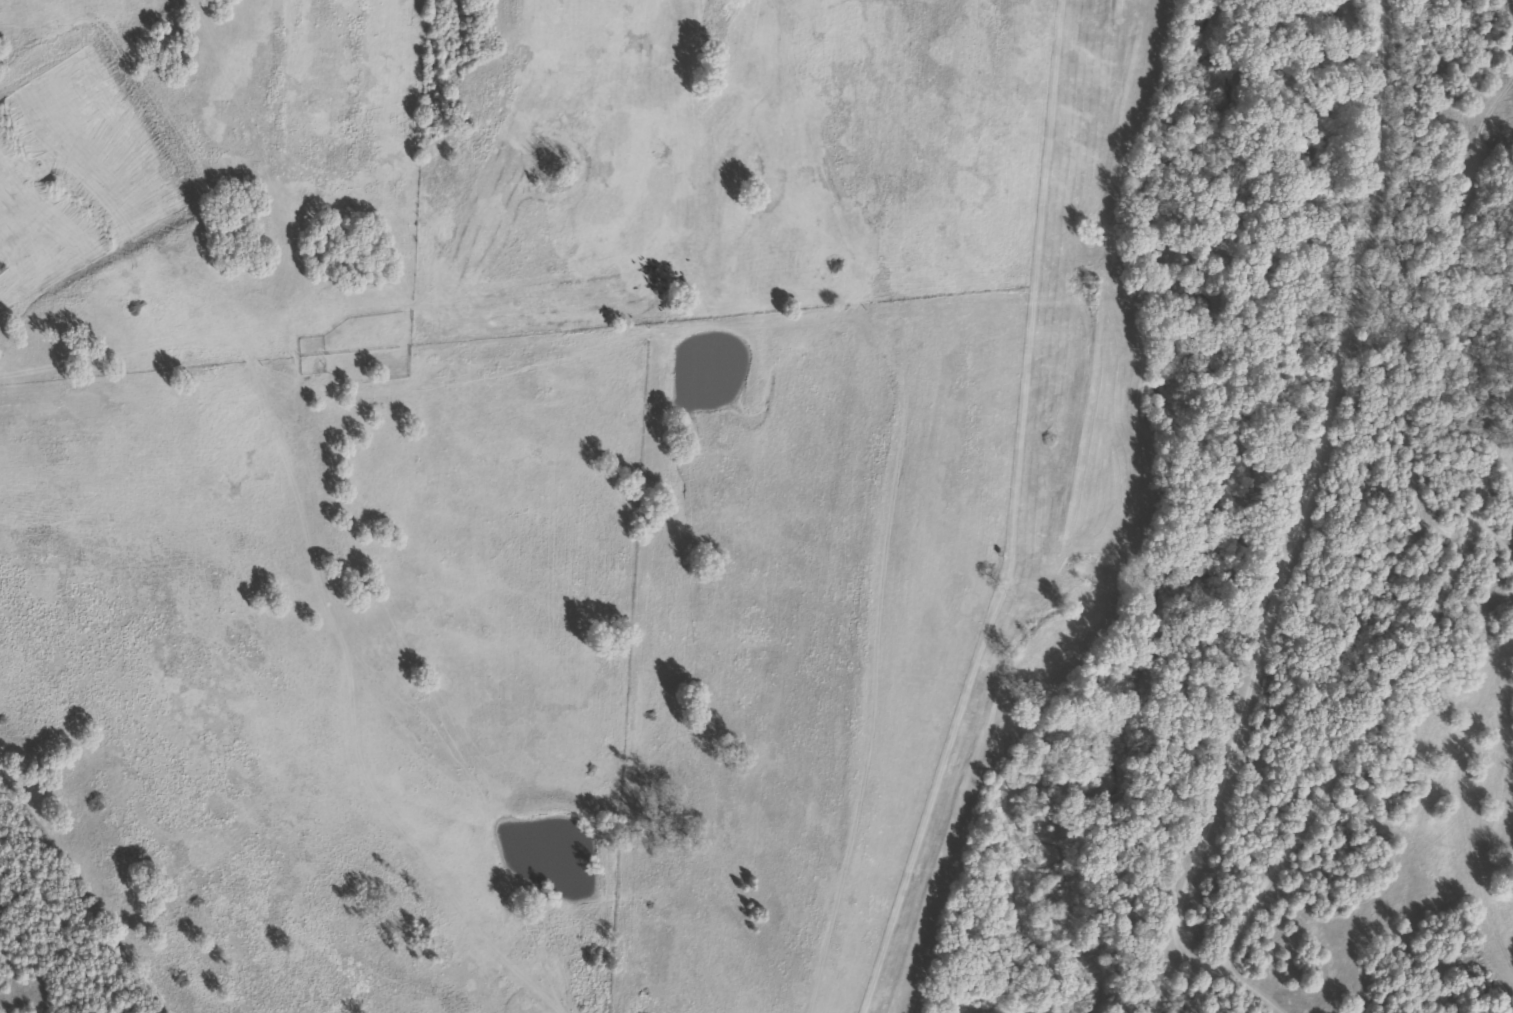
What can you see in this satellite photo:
railway: (1295, 510)

